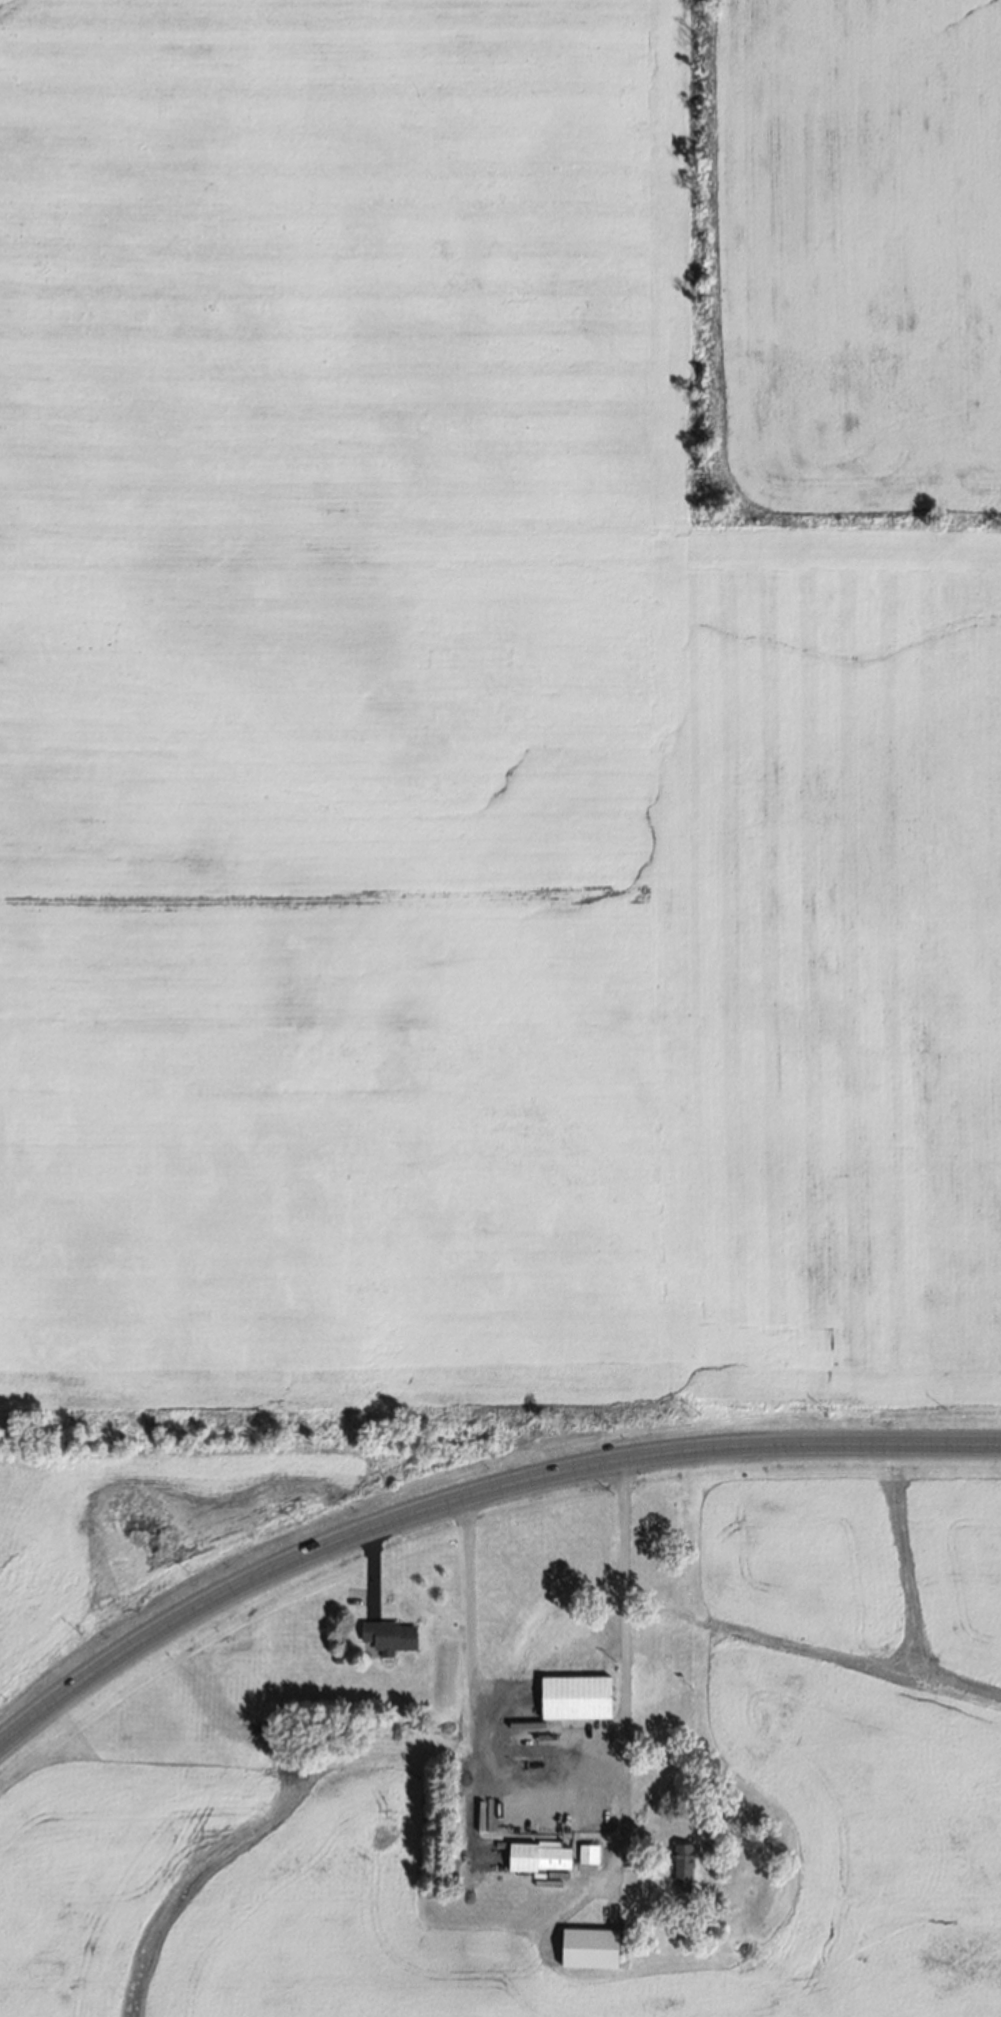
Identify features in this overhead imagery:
road: (470, 1498)
building: (384, 1634)
road: (626, 1667)
building: (572, 1693)
road: (474, 1712)
building: (585, 1853)
building: (537, 1854)
building: (680, 1859)
building: (721, 1943)
building: (585, 1947)

